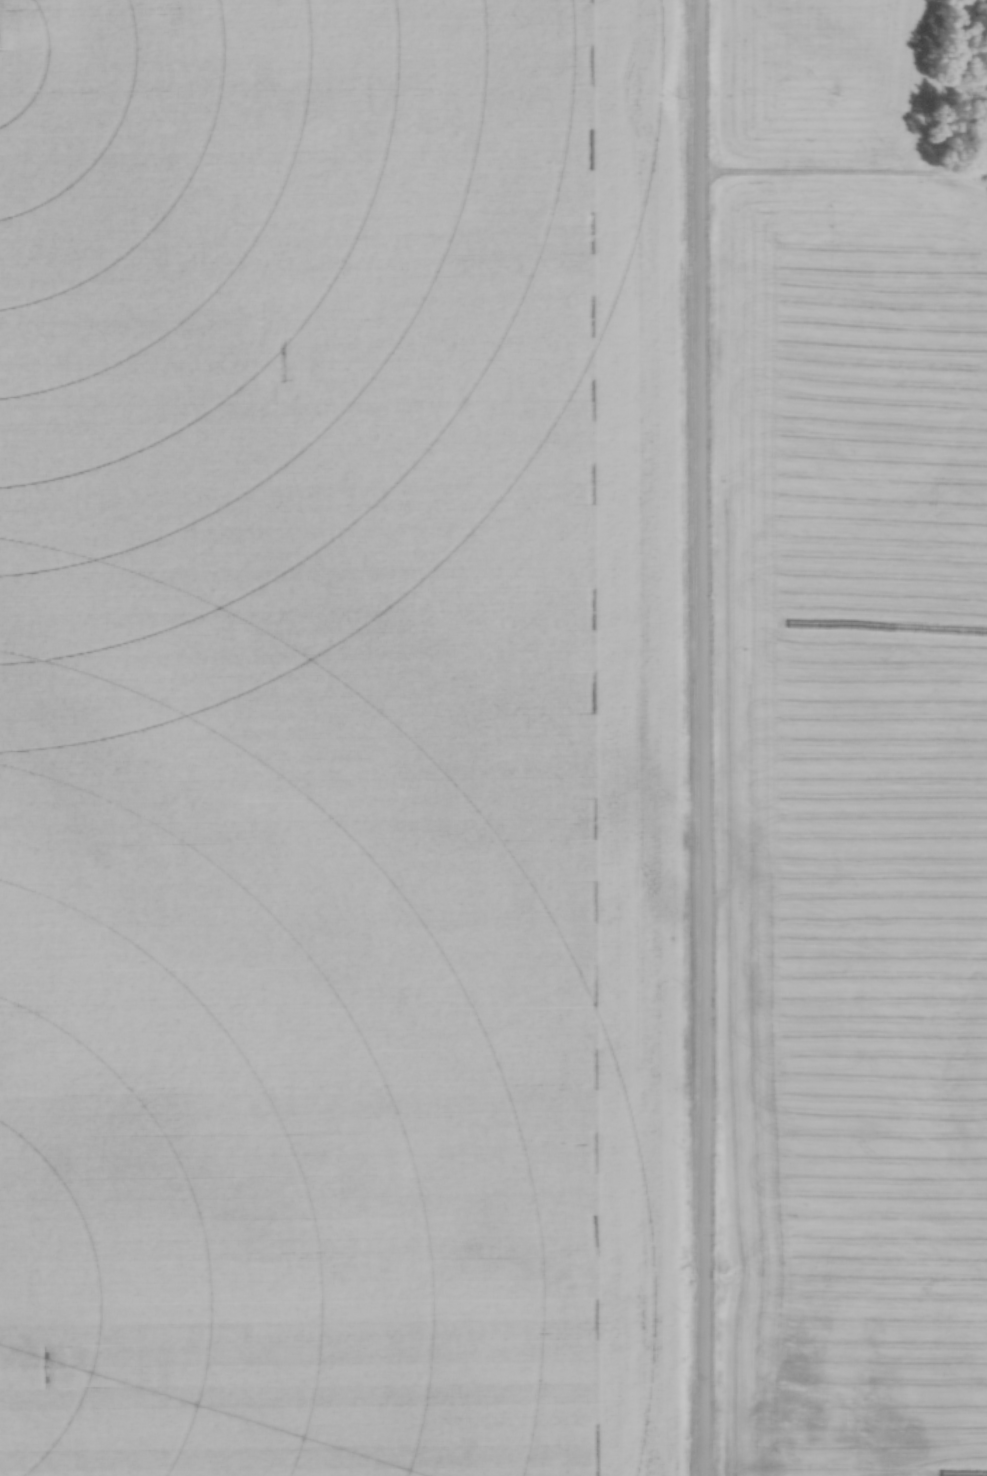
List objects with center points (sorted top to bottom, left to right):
road: (843, 177)
road: (703, 737)

